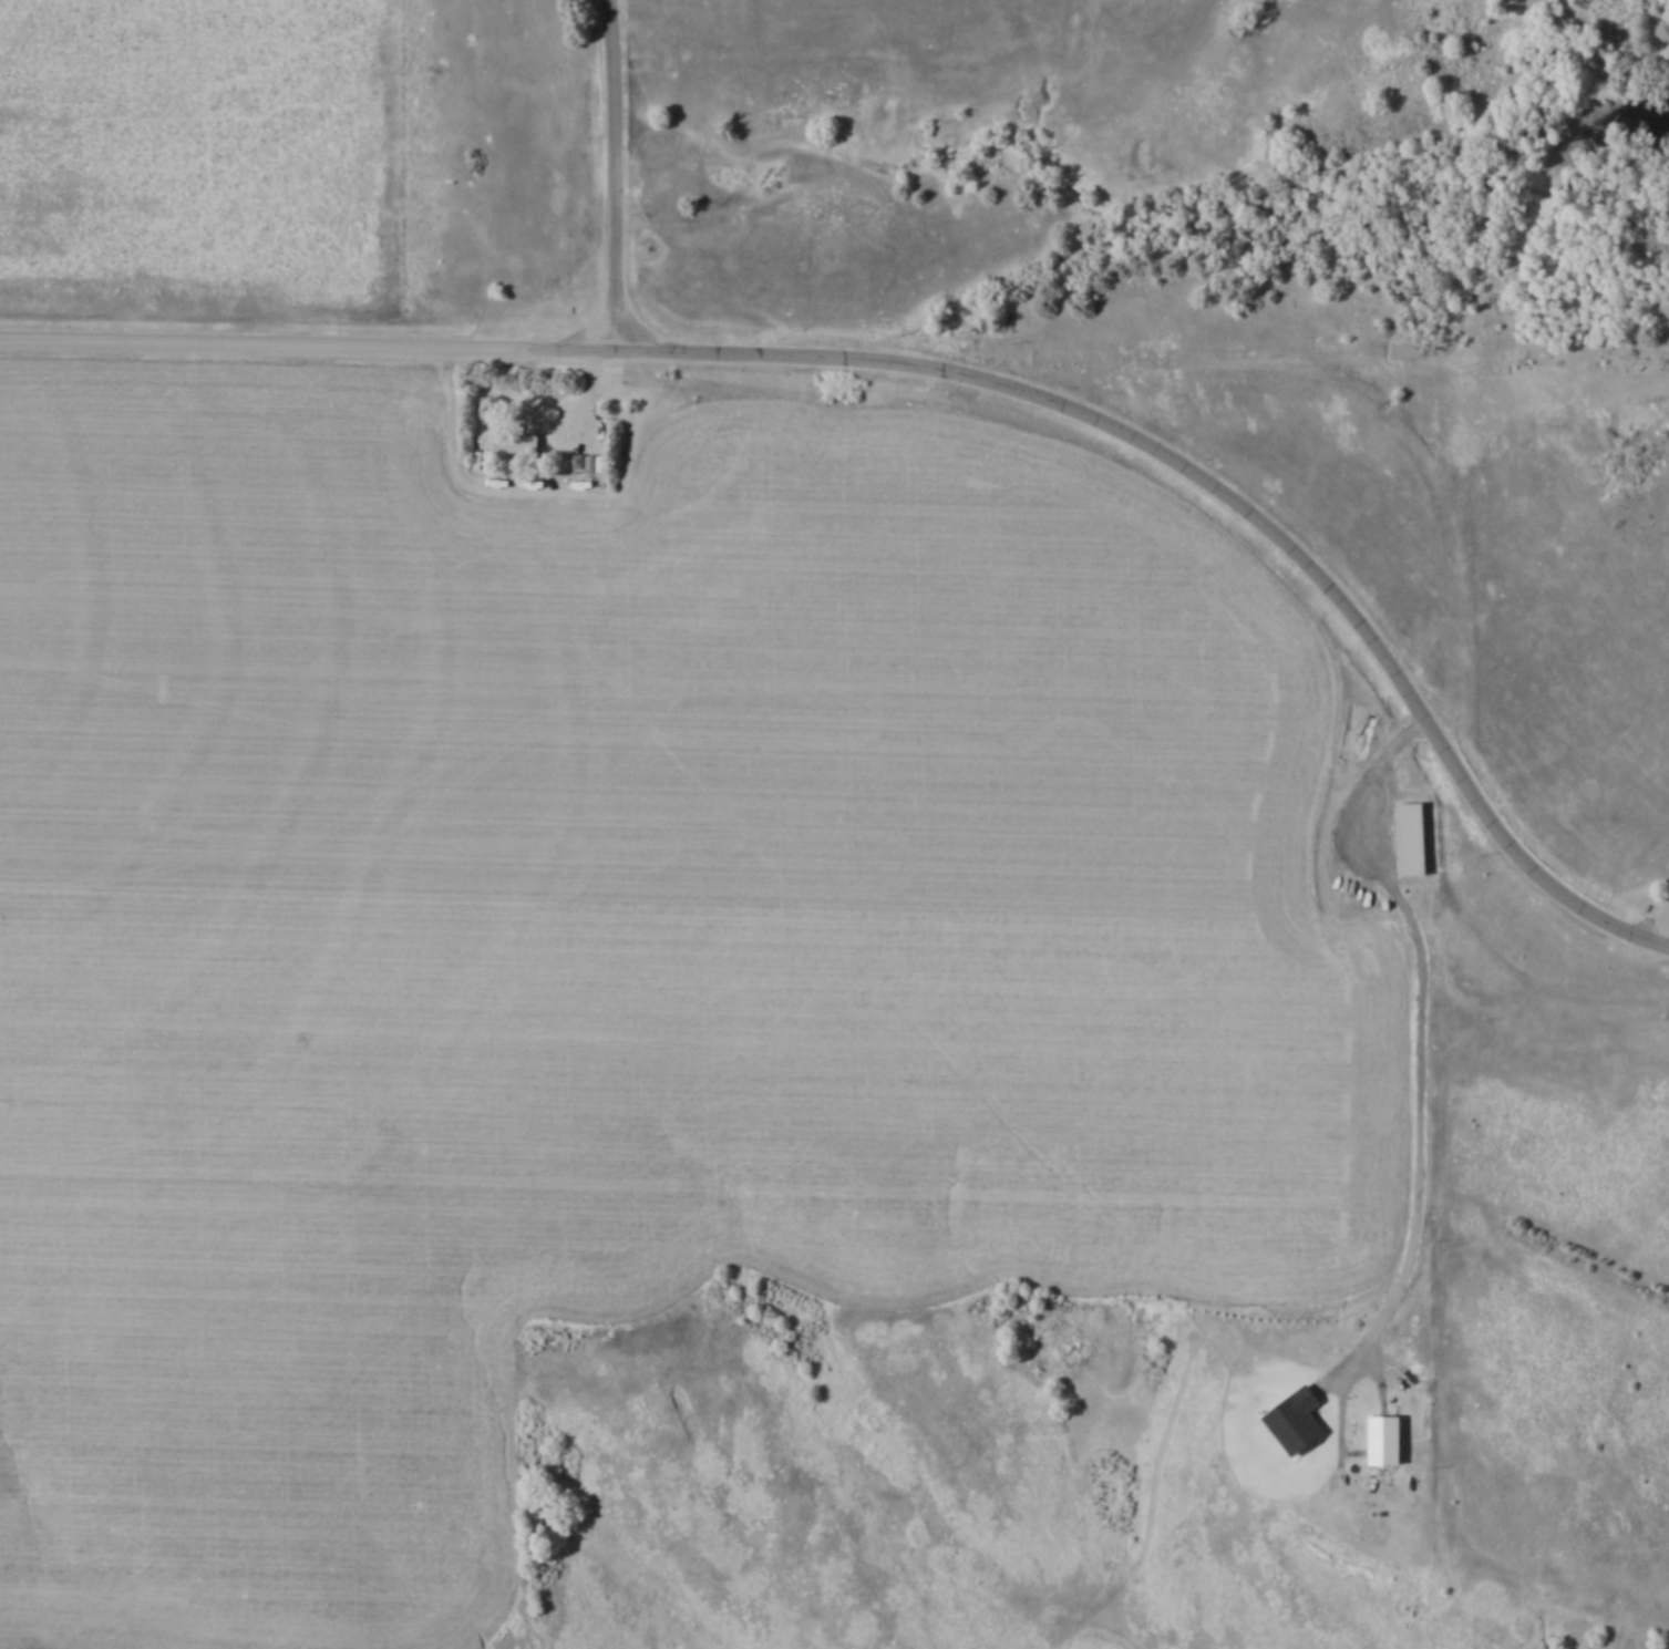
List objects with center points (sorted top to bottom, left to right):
road: (614, 177)
road: (307, 346)
building: (514, 444)
road: (1228, 502)
park: (1542, 838)
road: (1668, 907)
road: (1657, 925)

